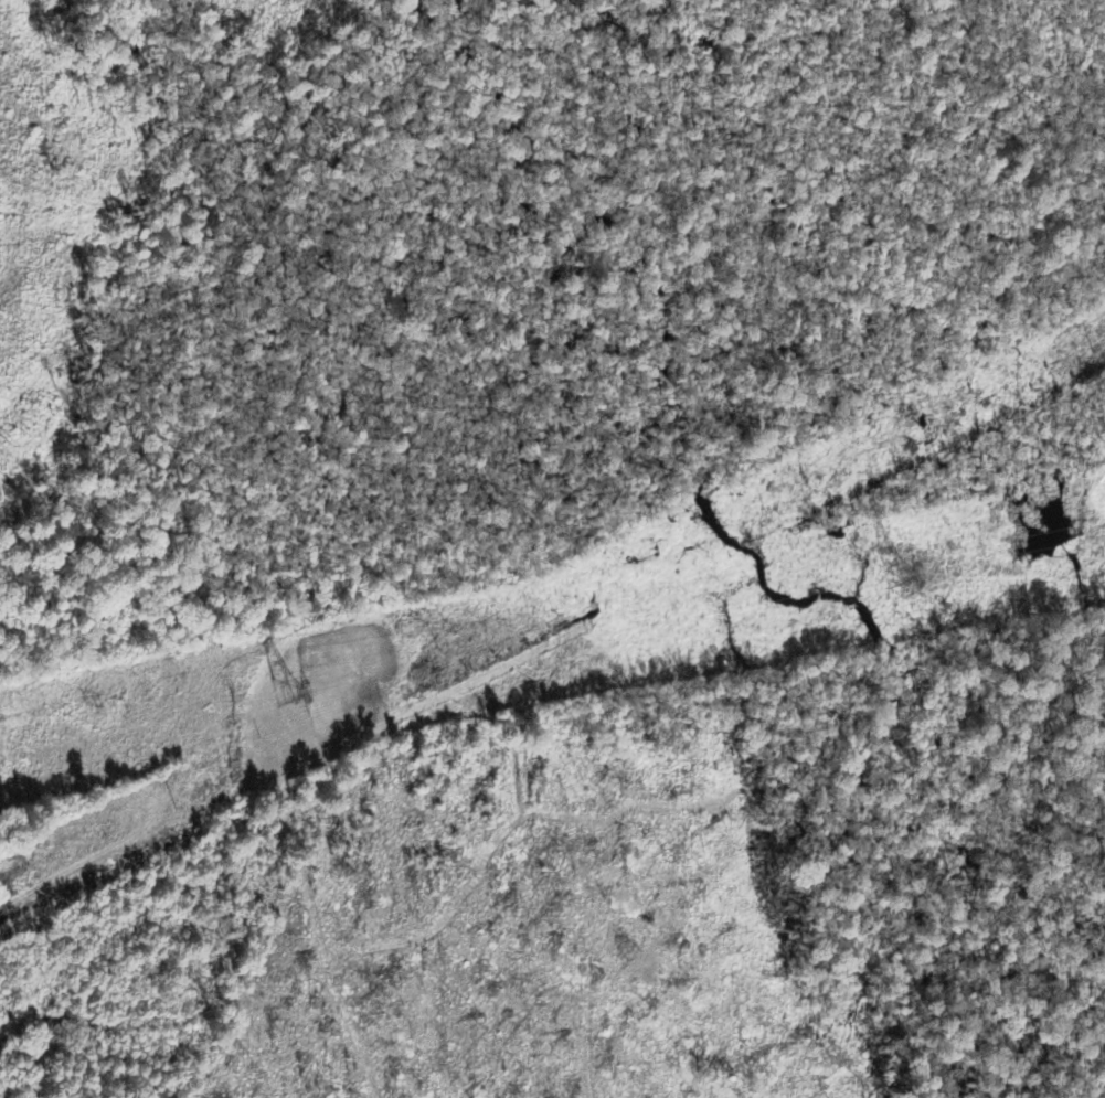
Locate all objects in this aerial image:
power tower: (892, 572)
power tower: (290, 692)

